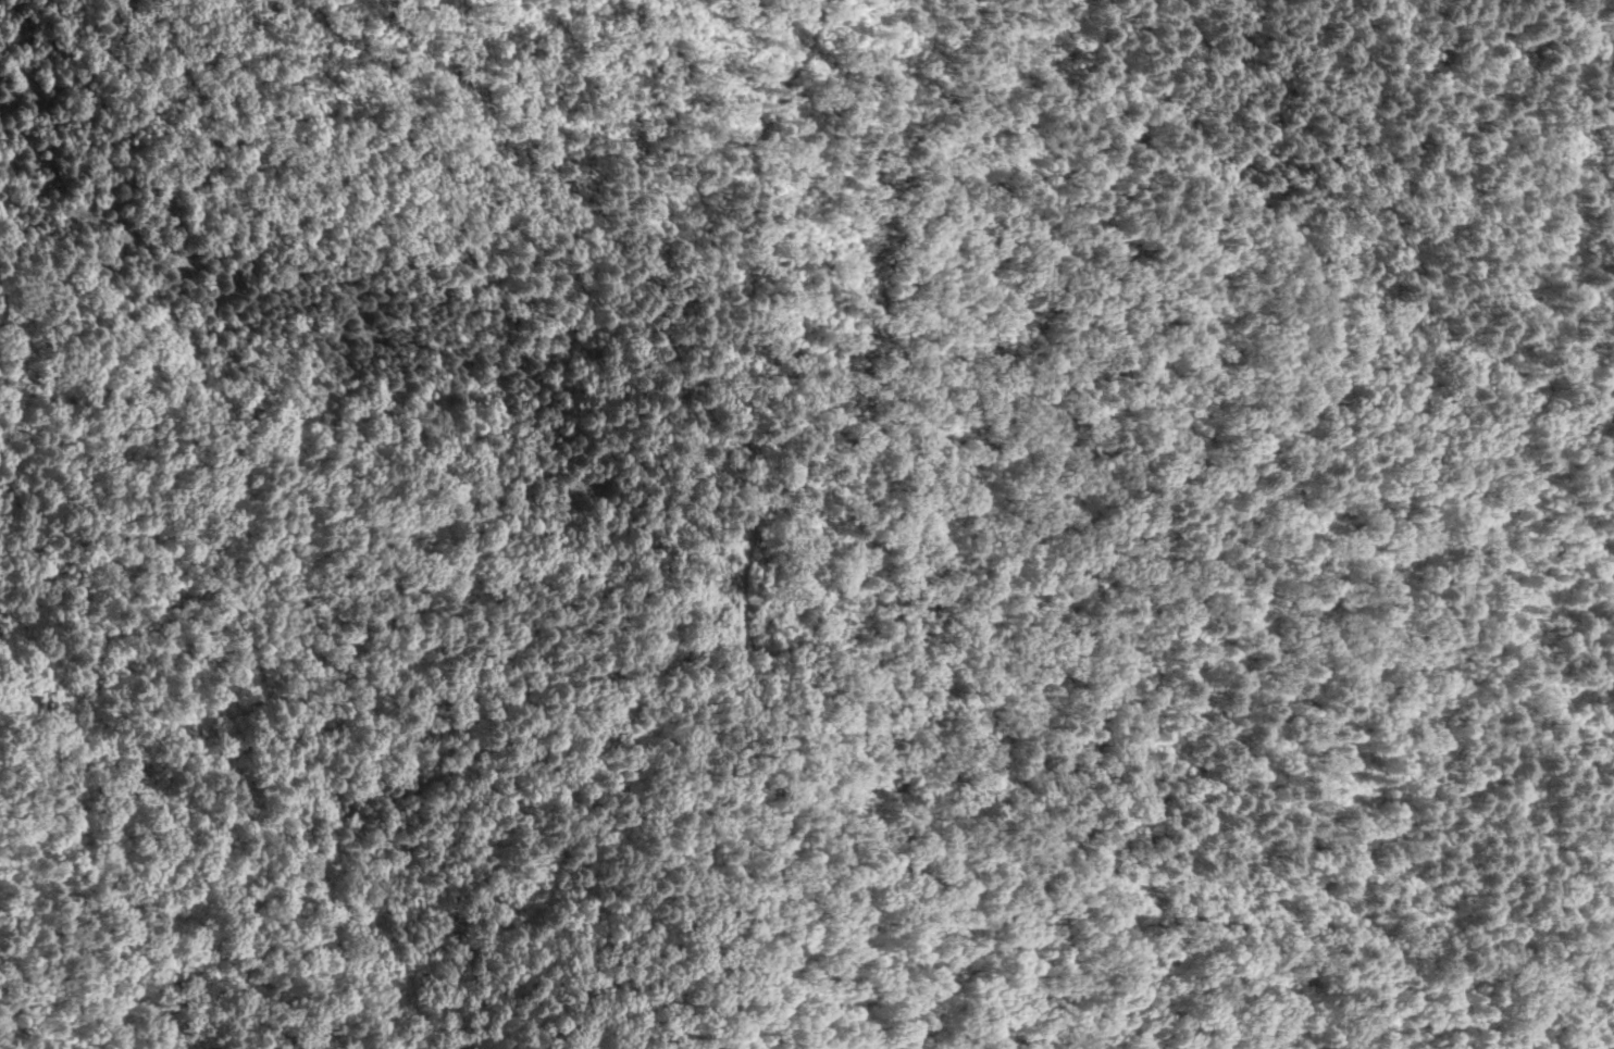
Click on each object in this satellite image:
road: (1522, 254)

